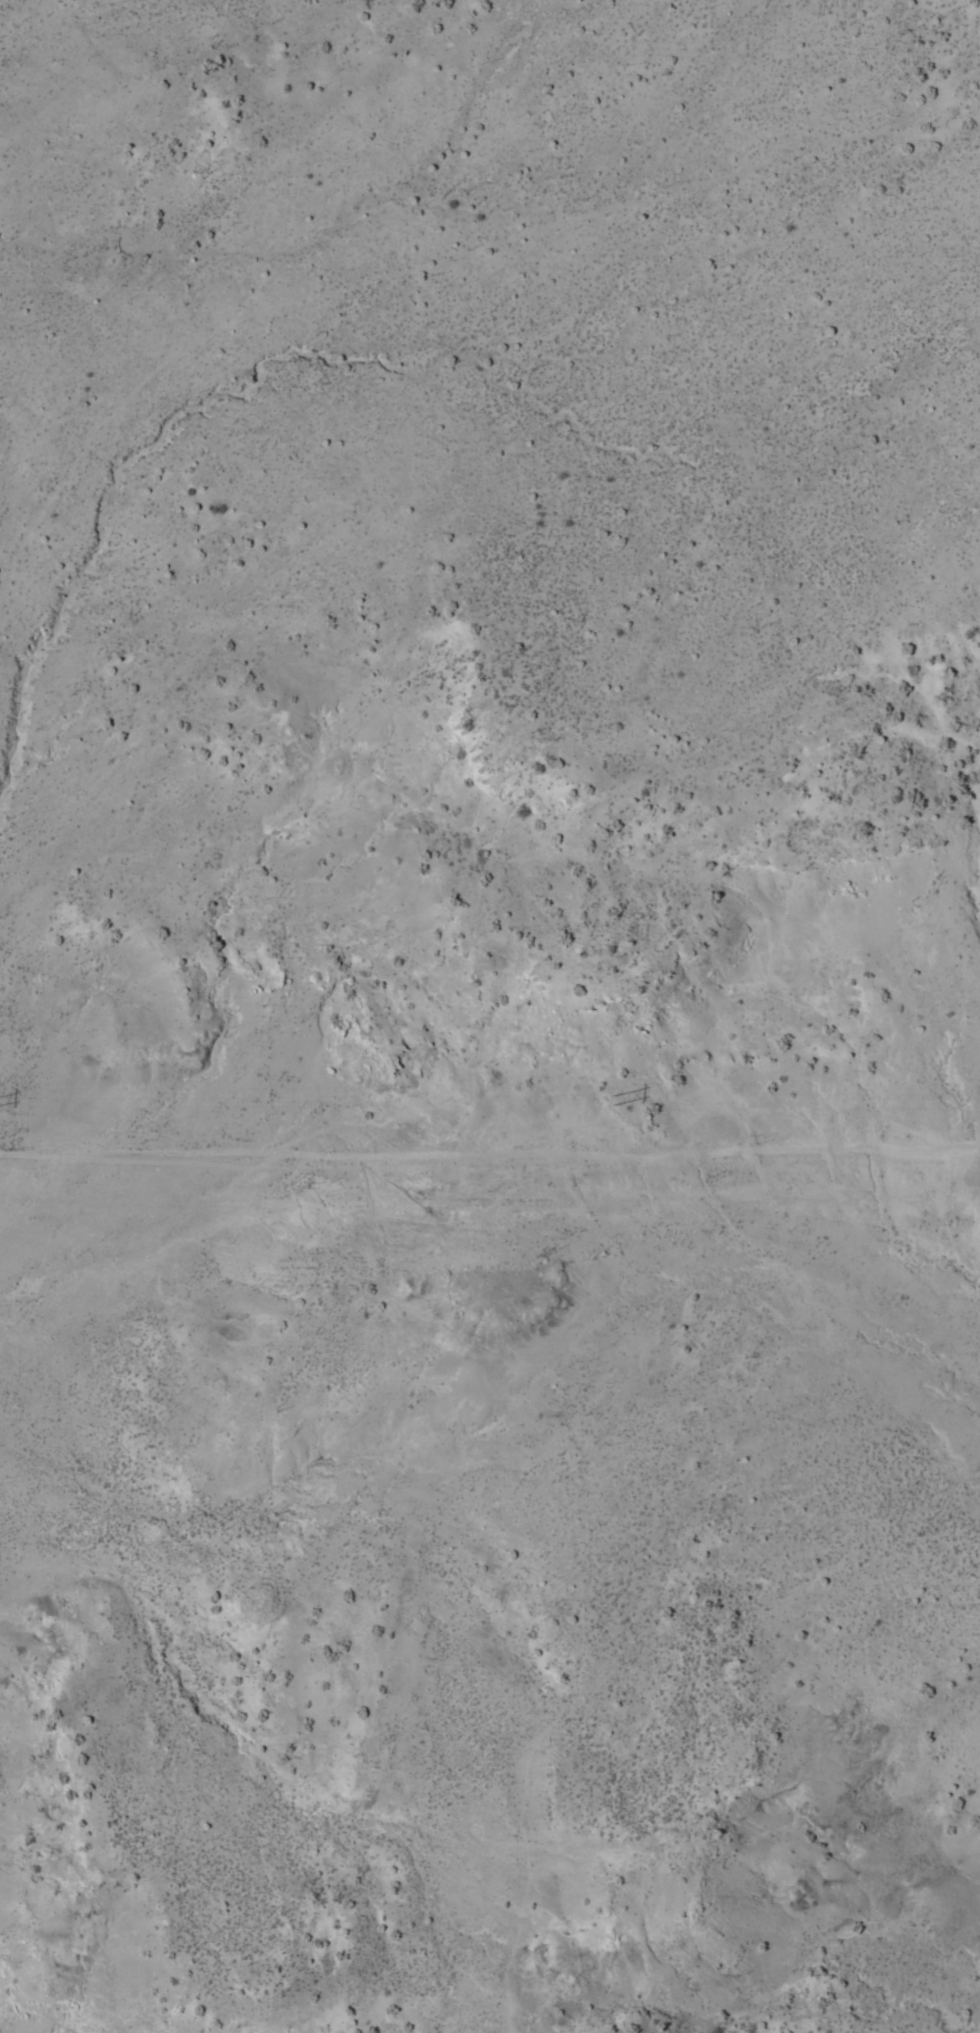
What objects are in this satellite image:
road: (811, 735)
power tower: (609, 1101)

